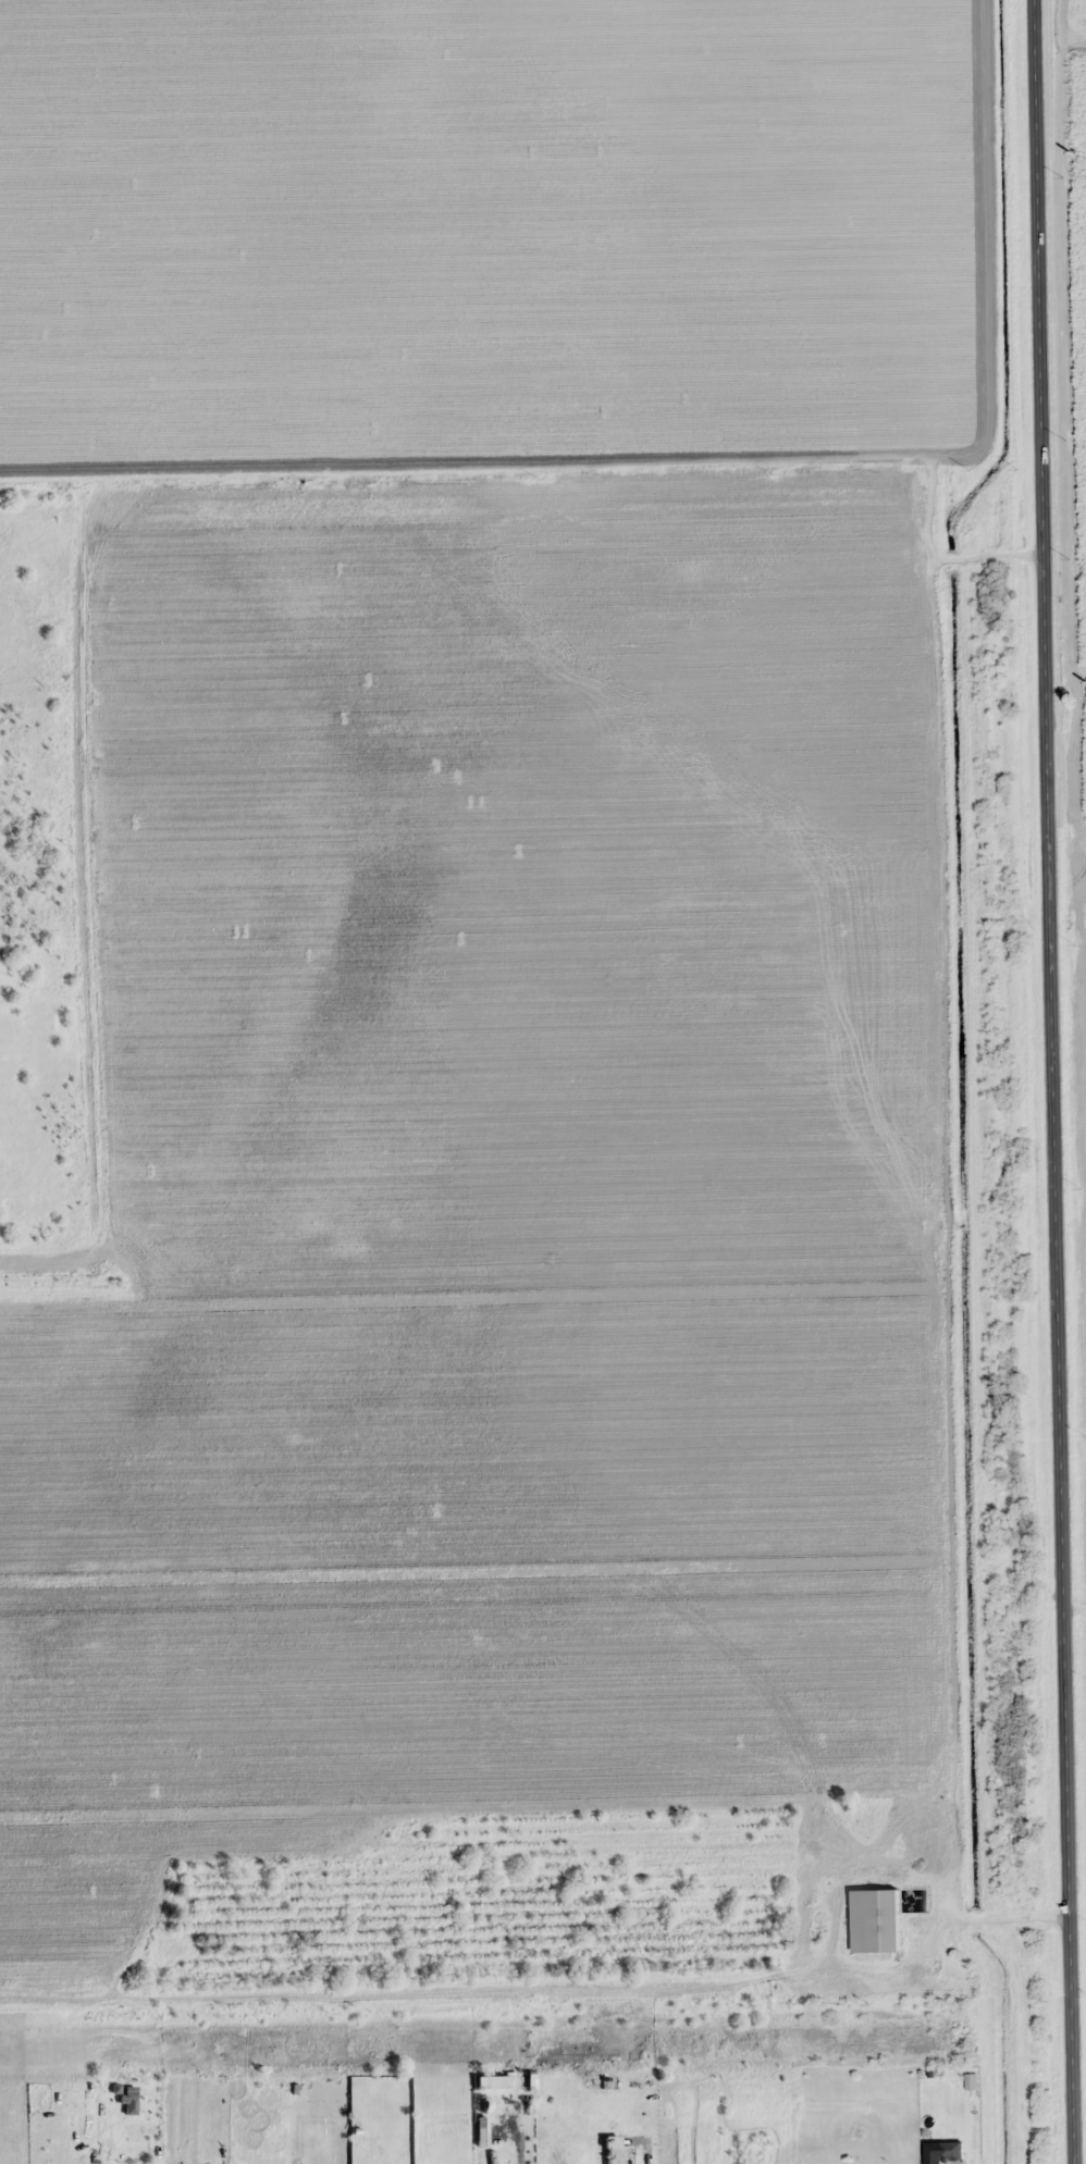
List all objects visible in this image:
road: (566, 467)
road: (1054, 1081)
road: (997, 1919)
building: (874, 1921)

